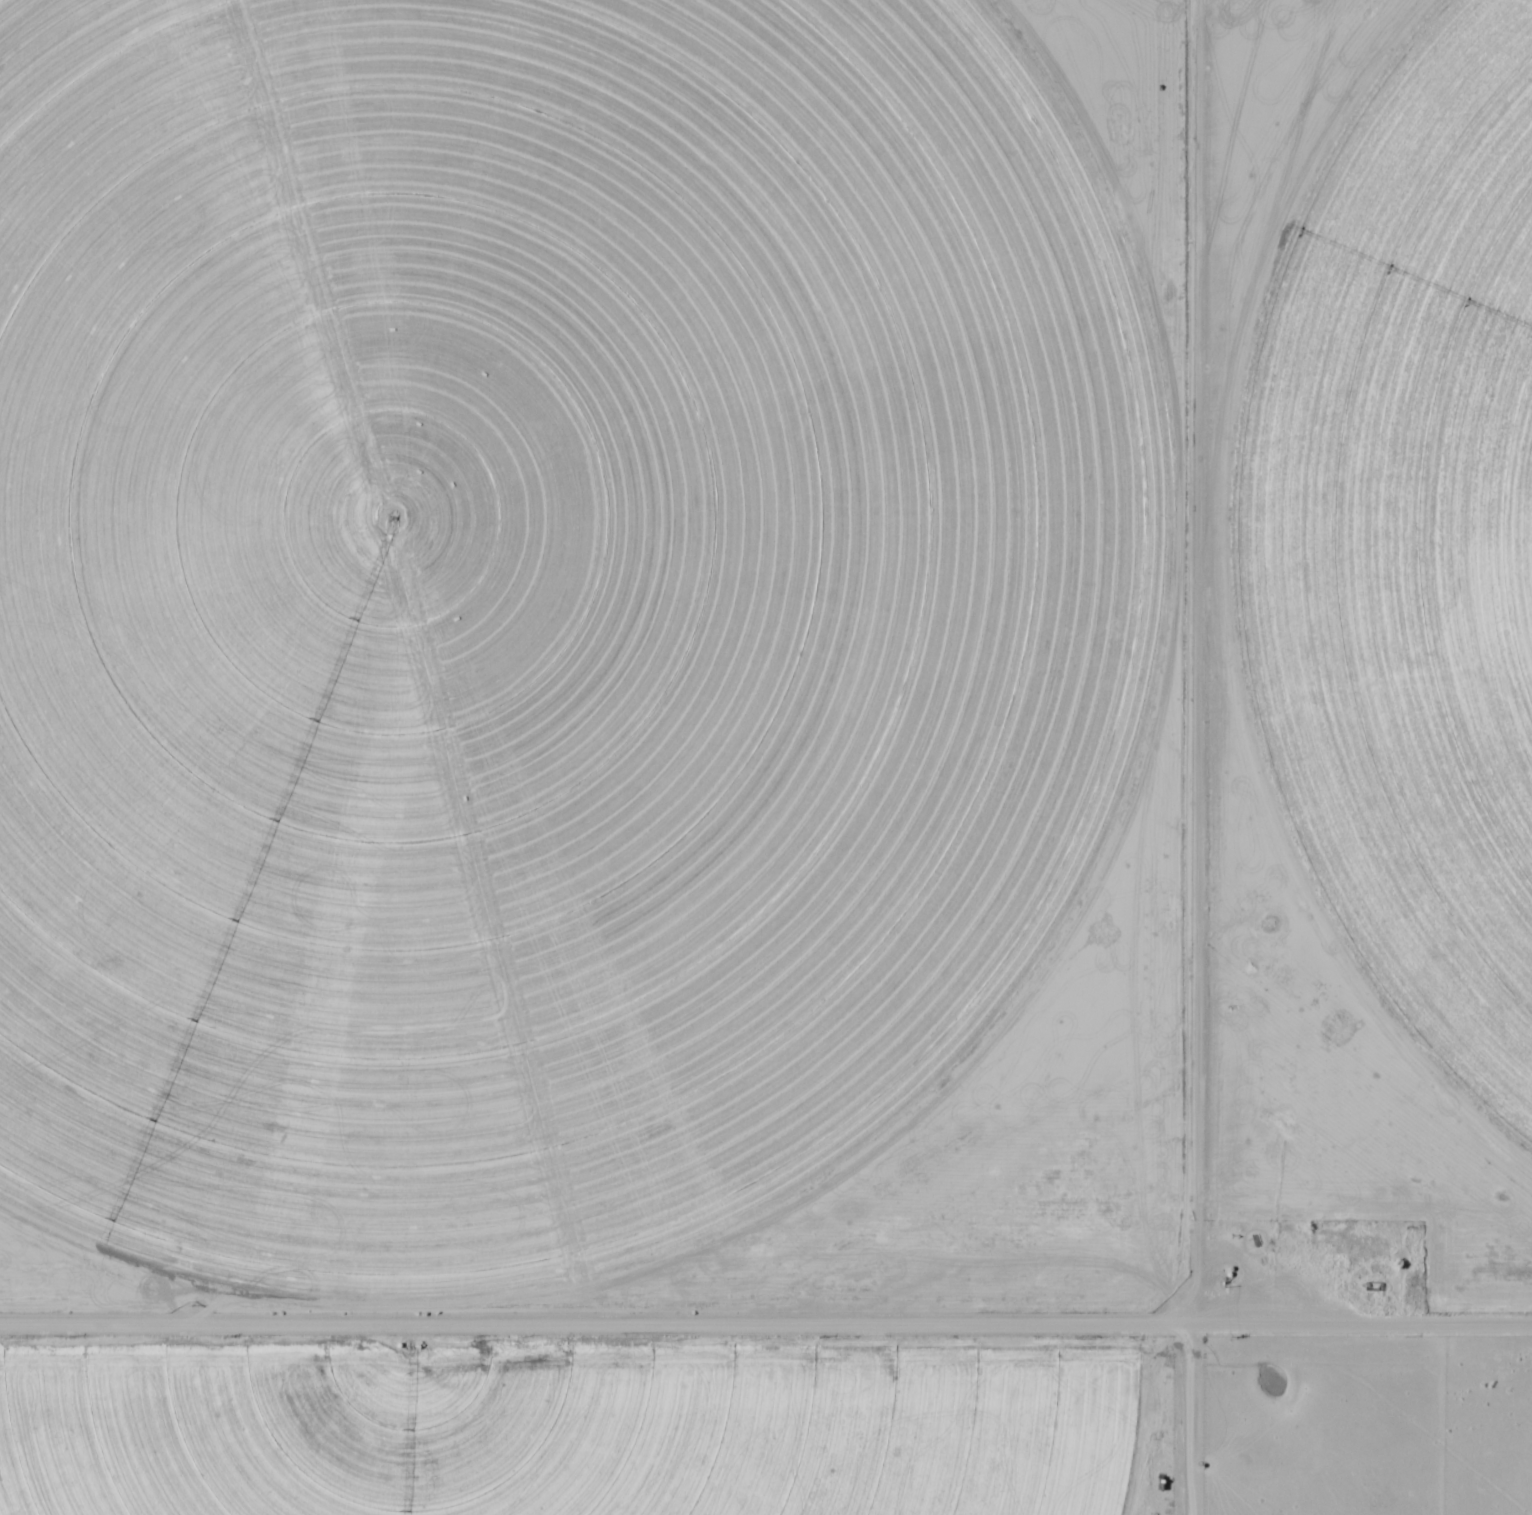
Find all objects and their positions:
crop: (1405, 546)
crop: (548, 618)
road: (766, 1323)

